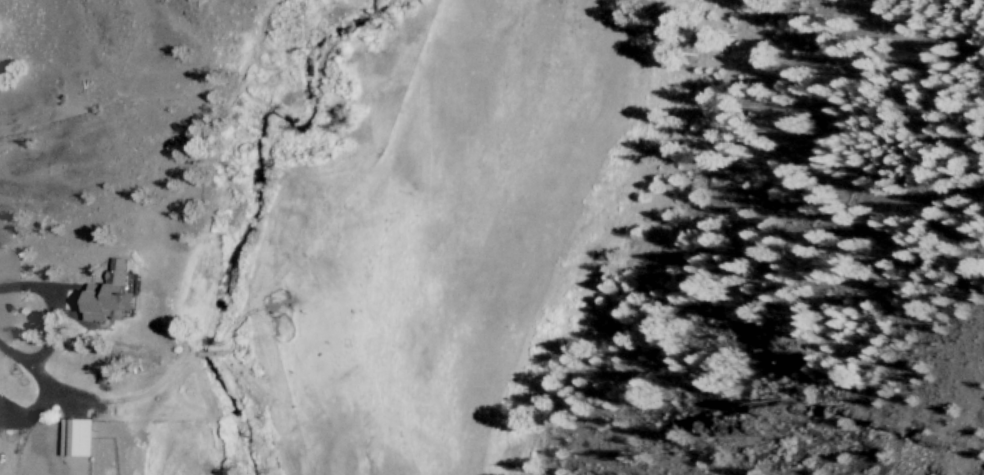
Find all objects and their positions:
crop: (300, 228)
building: (115, 294)
building: (81, 439)

